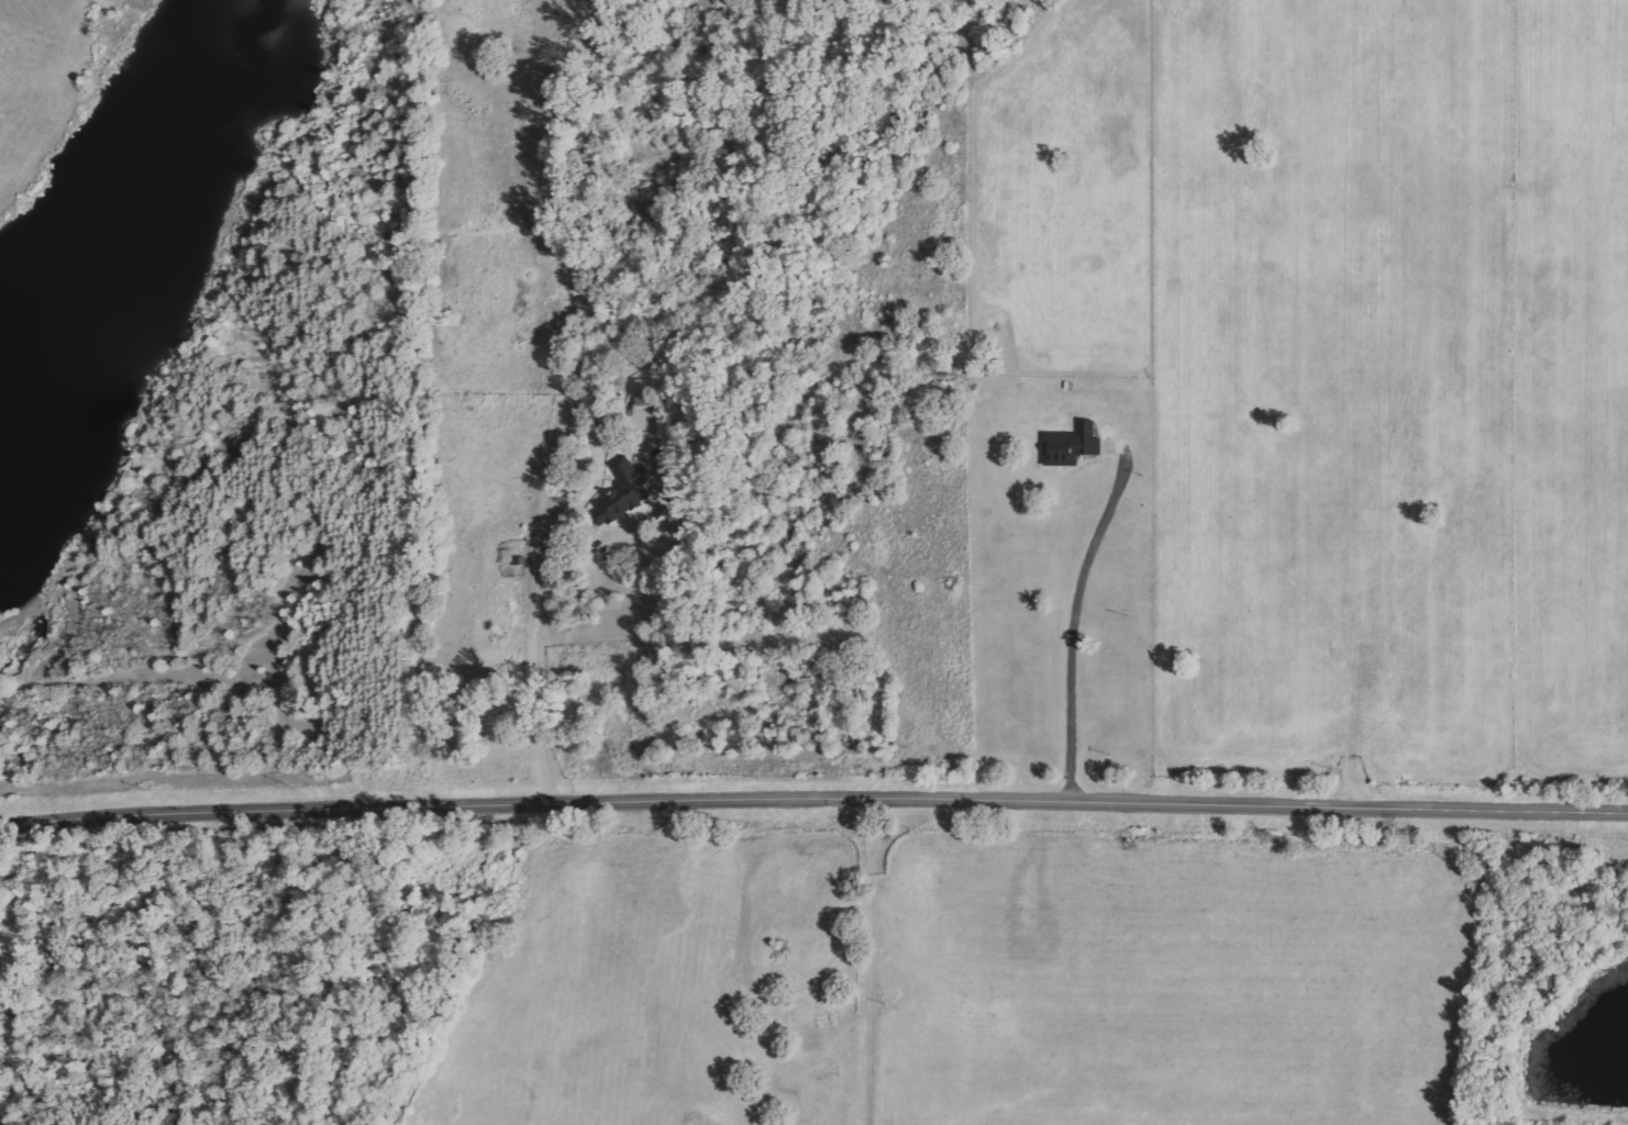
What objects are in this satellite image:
building: (646, 392)
building: (1071, 445)
building: (622, 492)
road: (813, 800)

